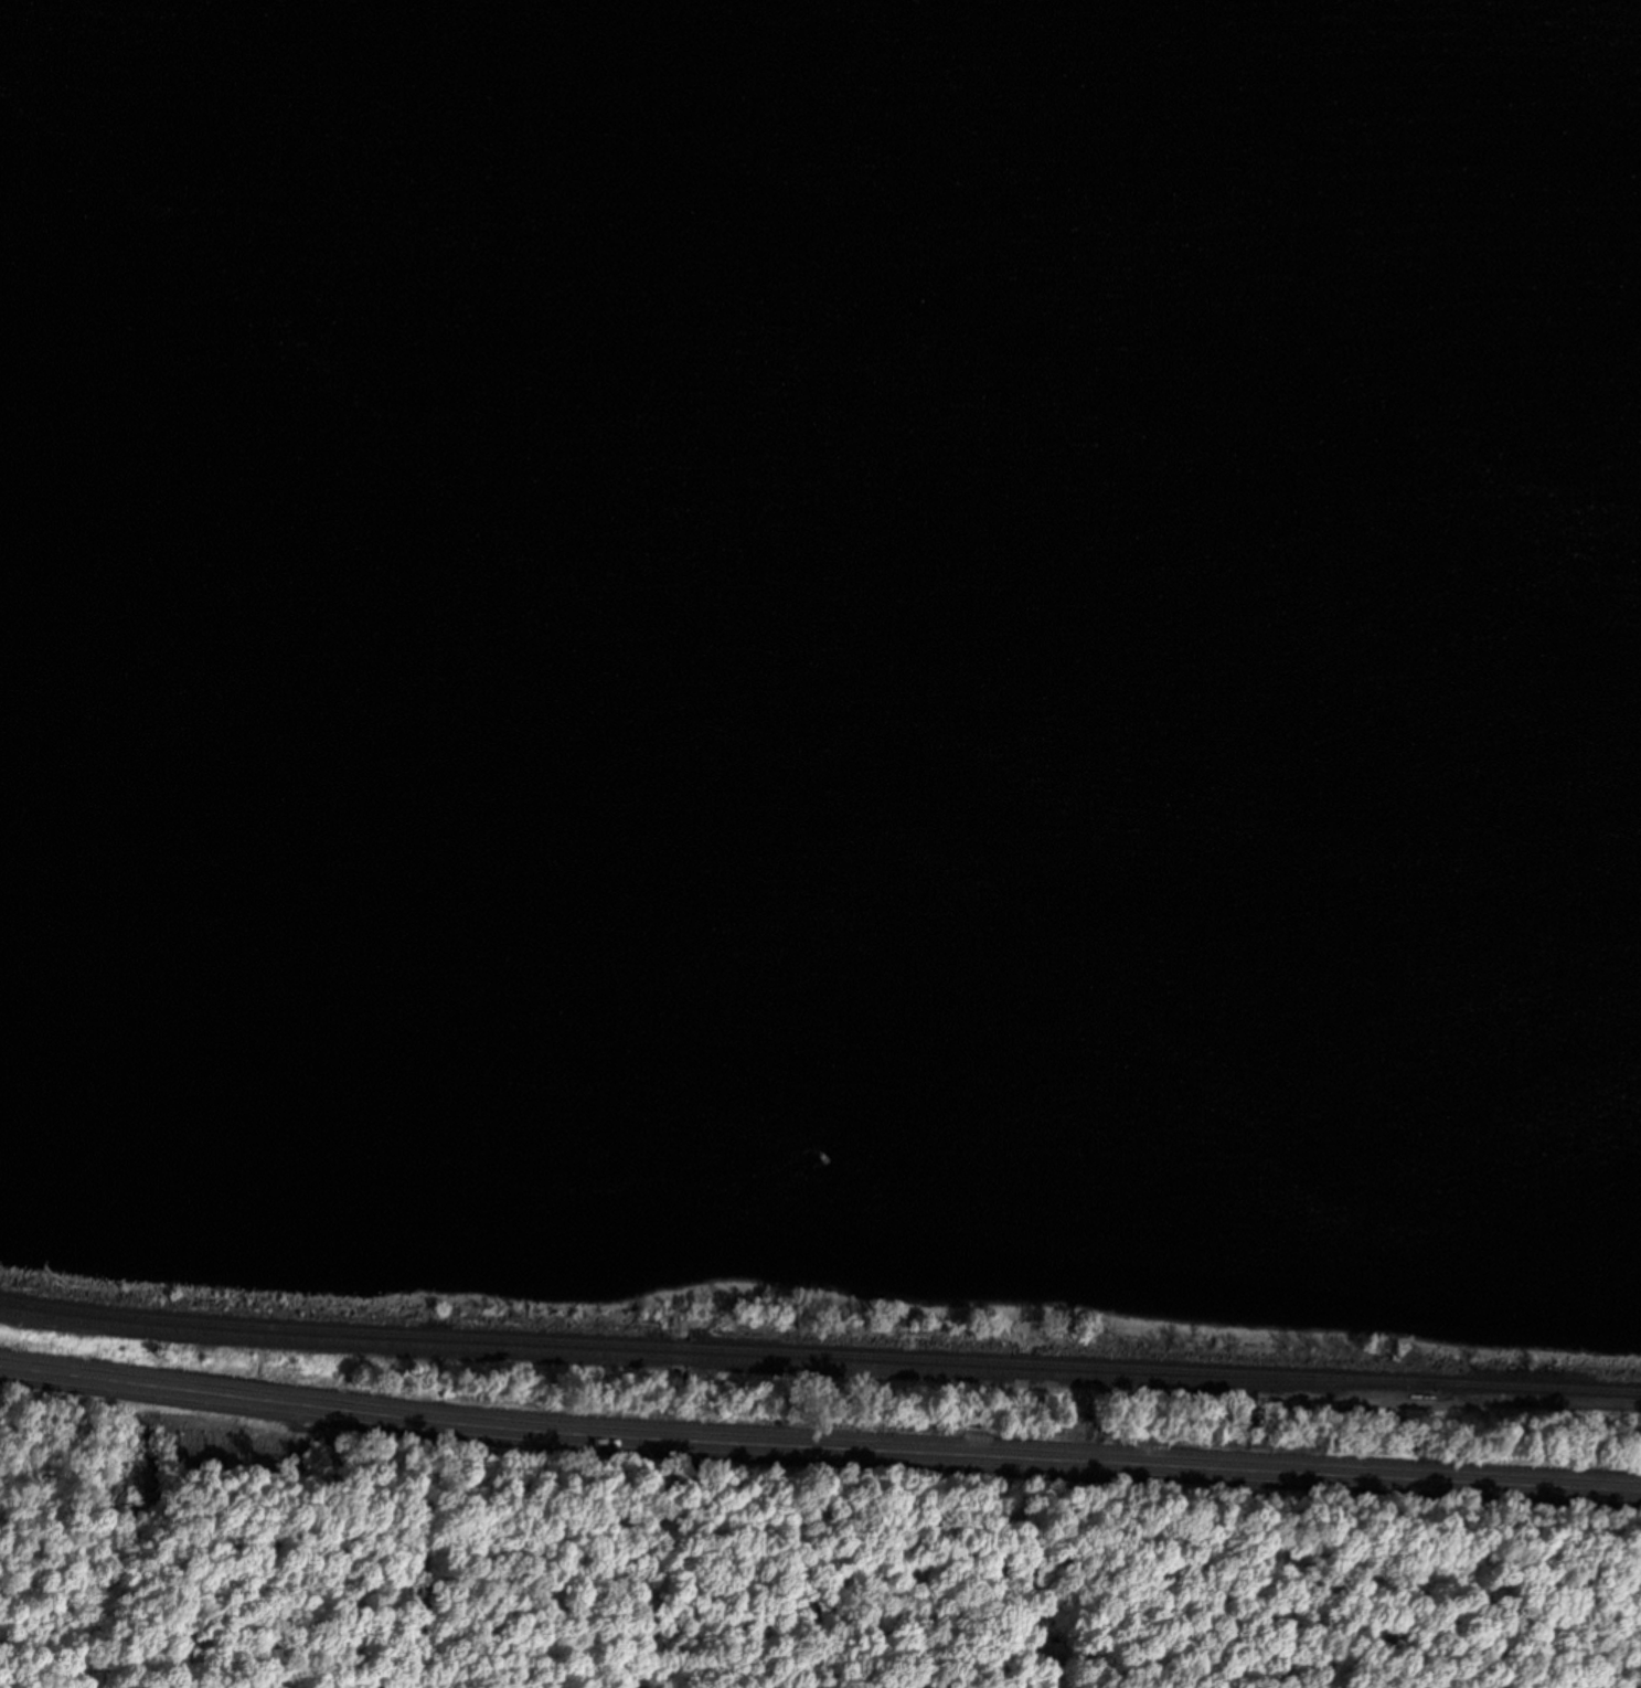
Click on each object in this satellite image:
railway: (715, 1347)
railway: (715, 1357)
railway: (1536, 1387)
road: (818, 1446)

